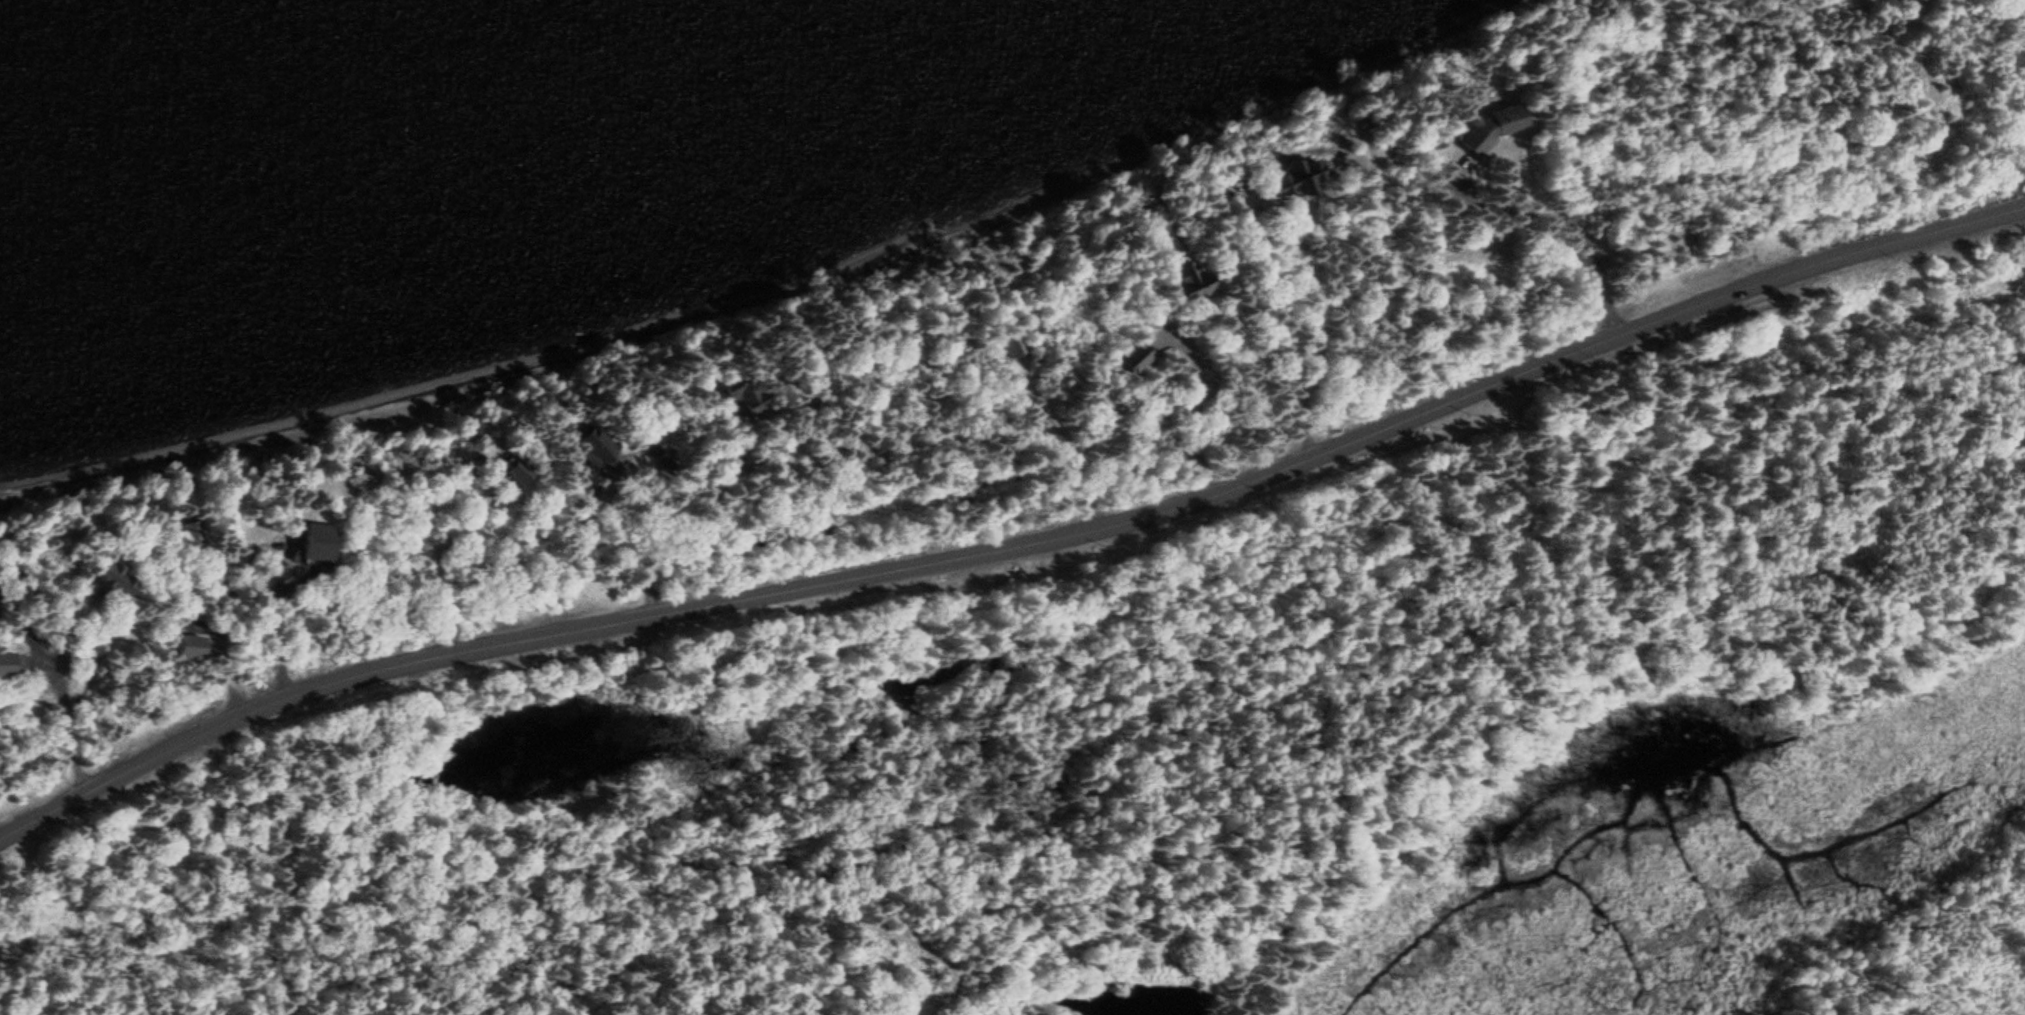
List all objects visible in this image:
road: (1186, 404)
road: (1015, 543)
building: (112, 582)
building: (6, 666)

